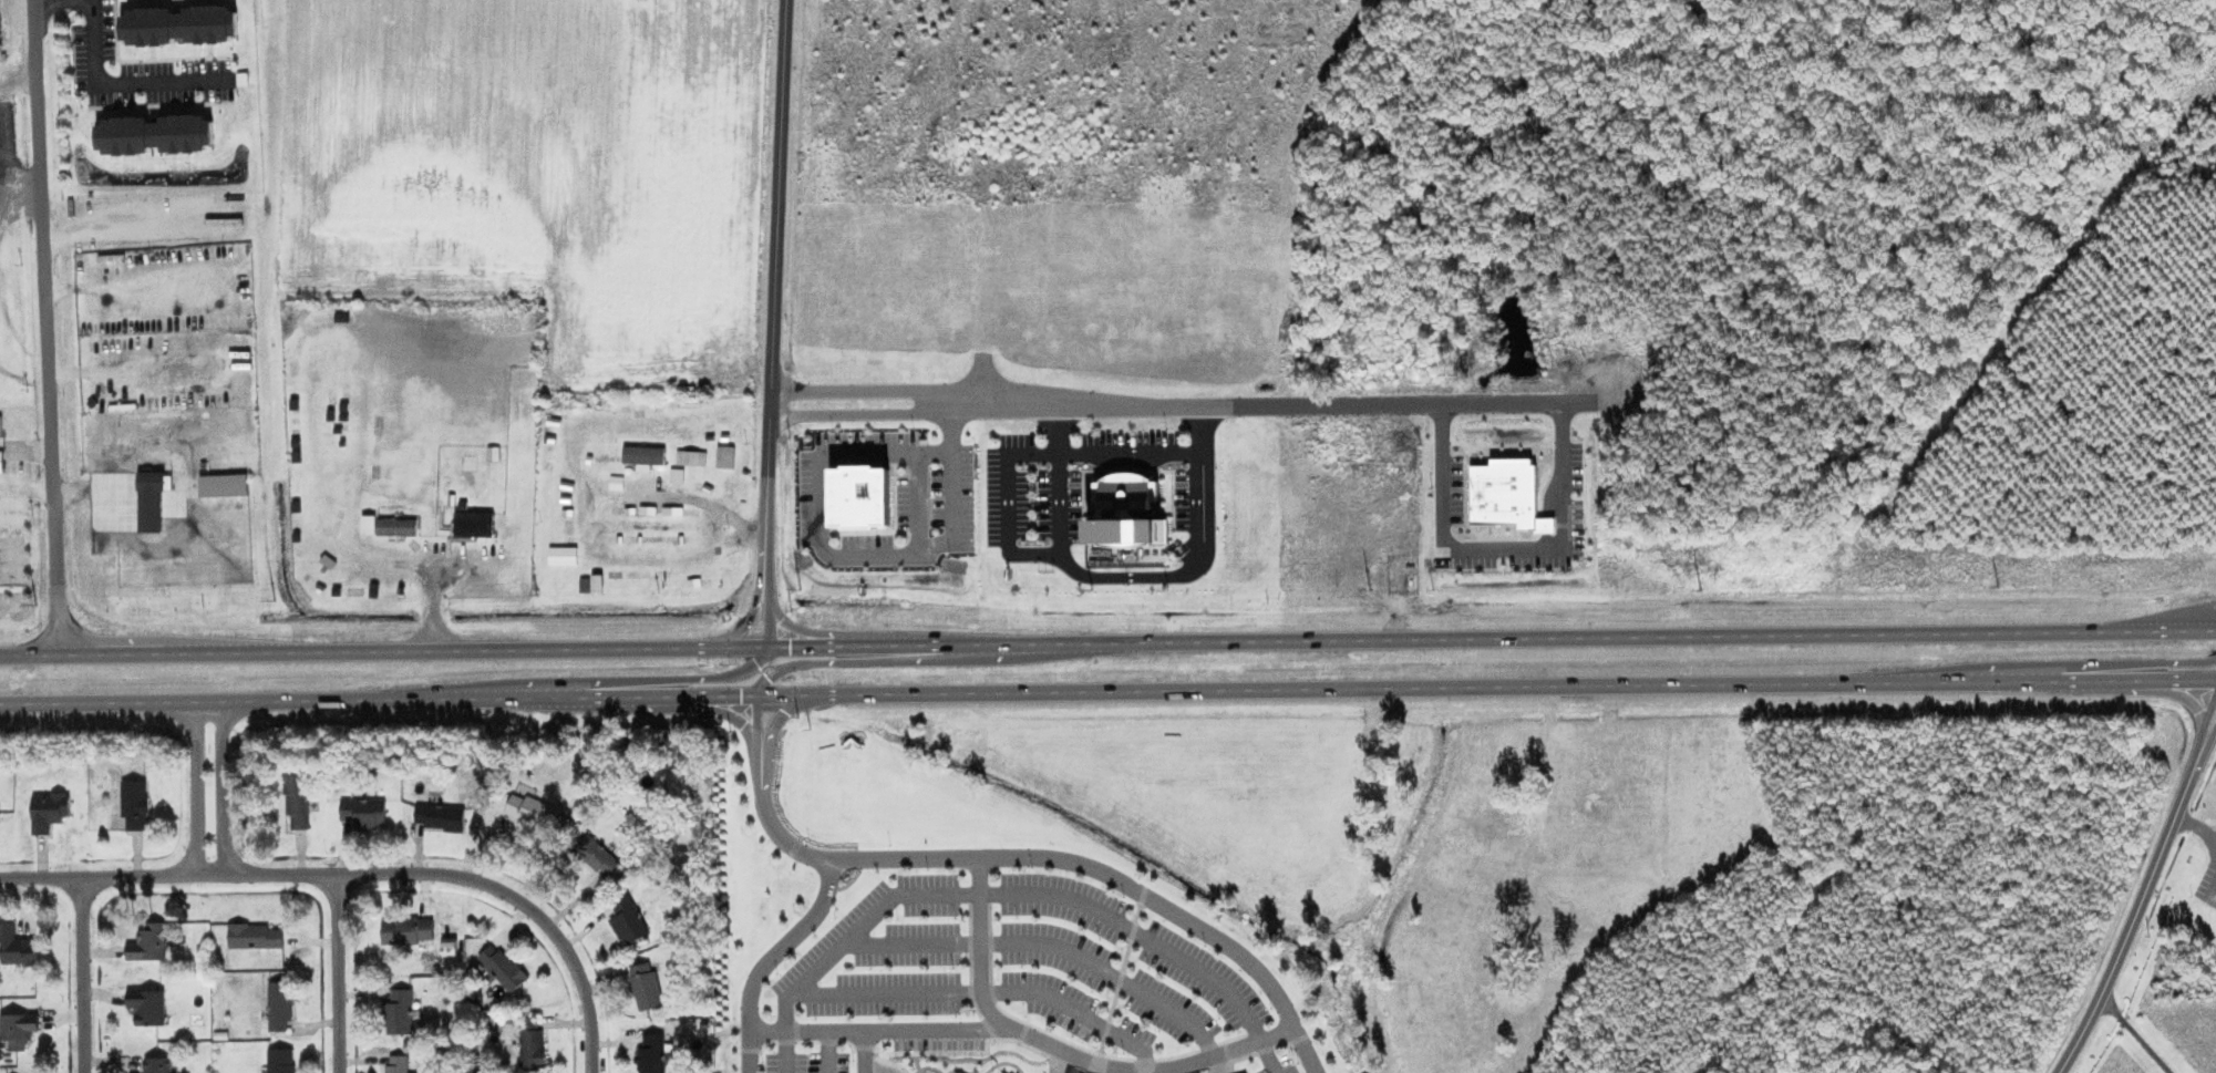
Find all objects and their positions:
road: (118, 78)
road: (774, 291)
road: (44, 327)
road: (1006, 415)
building: (158, 420)
building: (643, 455)
building: (725, 456)
building: (694, 457)
building: (1, 460)
building: (157, 462)
building: (223, 483)
building: (860, 494)
building: (1507, 494)
building: (151, 501)
building: (1124, 514)
building: (369, 523)
building: (473, 523)
building: (395, 526)
building: (329, 533)
building: (563, 554)
road: (769, 615)
road: (749, 621)
traffic signals: (744, 630)
road: (1107, 642)
traffic signals: (790, 647)
road: (843, 660)
traffic signals: (756, 664)
road: (2138, 667)
traffic signals: (766, 677)
road: (684, 679)
road: (1107, 689)
traffic signals: (740, 693)
traffic signals: (784, 712)
road: (780, 715)
road: (2204, 721)
road: (755, 723)
road: (2206, 742)
road: (221, 786)
road: (197, 787)
building: (298, 802)
building: (135, 803)
building: (532, 809)
building: (49, 811)
building: (364, 812)
building: (440, 817)
road: (2196, 825)
building: (595, 854)
road: (1047, 857)
road: (209, 873)
road: (97, 875)
road: (472, 875)
road: (1032, 894)
road: (2132, 918)
building: (628, 921)
building: (408, 930)
building: (255, 936)
building: (16, 946)
building: (148, 946)
building: (449, 946)
road: (1045, 946)
road: (982, 948)
parking lot: (891, 953)
road: (771, 957)
building: (503, 964)
parking lot: (1112, 969)
road: (336, 971)
road: (80, 973)
building: (647, 986)
road: (985, 995)
building: (280, 1004)
building: (147, 1005)
building: (399, 1012)
building: (18, 1029)
road: (2132, 1032)
road: (1027, 1038)
building: (532, 1045)
parking lot: (937, 1045)
road: (789, 1053)
road: (829, 1053)
road: (866, 1053)
building: (651, 1054)
parking lot: (808, 1057)
building: (280, 1060)
parking lot: (1274, 1060)
building: (398, 1064)
building: (157, 1065)
building: (898, 1071)

